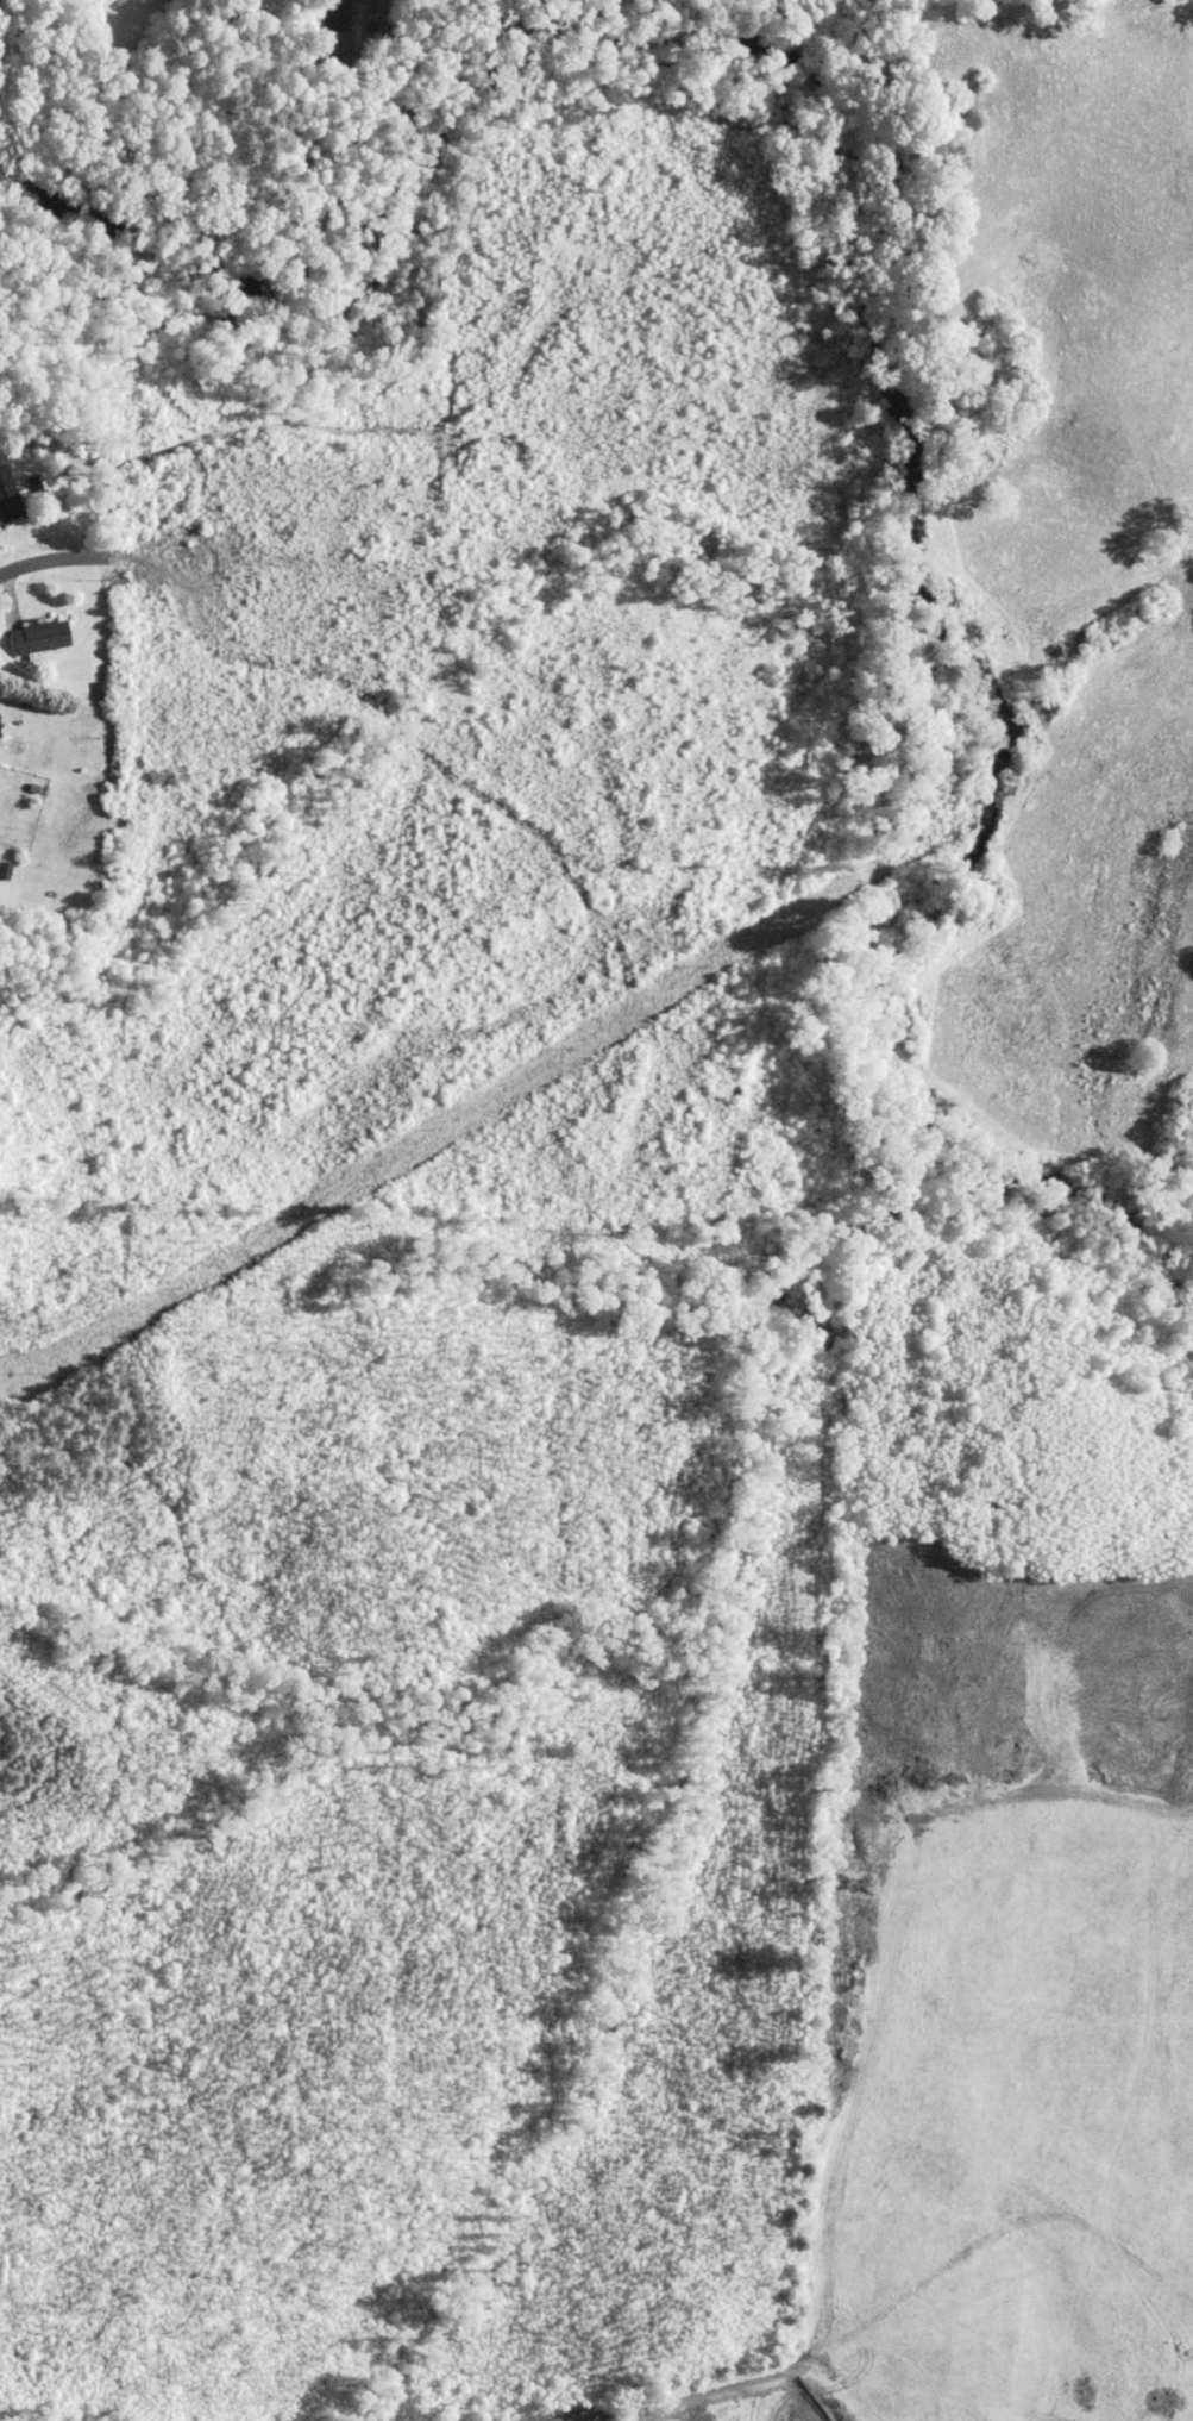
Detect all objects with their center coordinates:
building: (11, 495)
road: (61, 557)
building: (1, 715)

